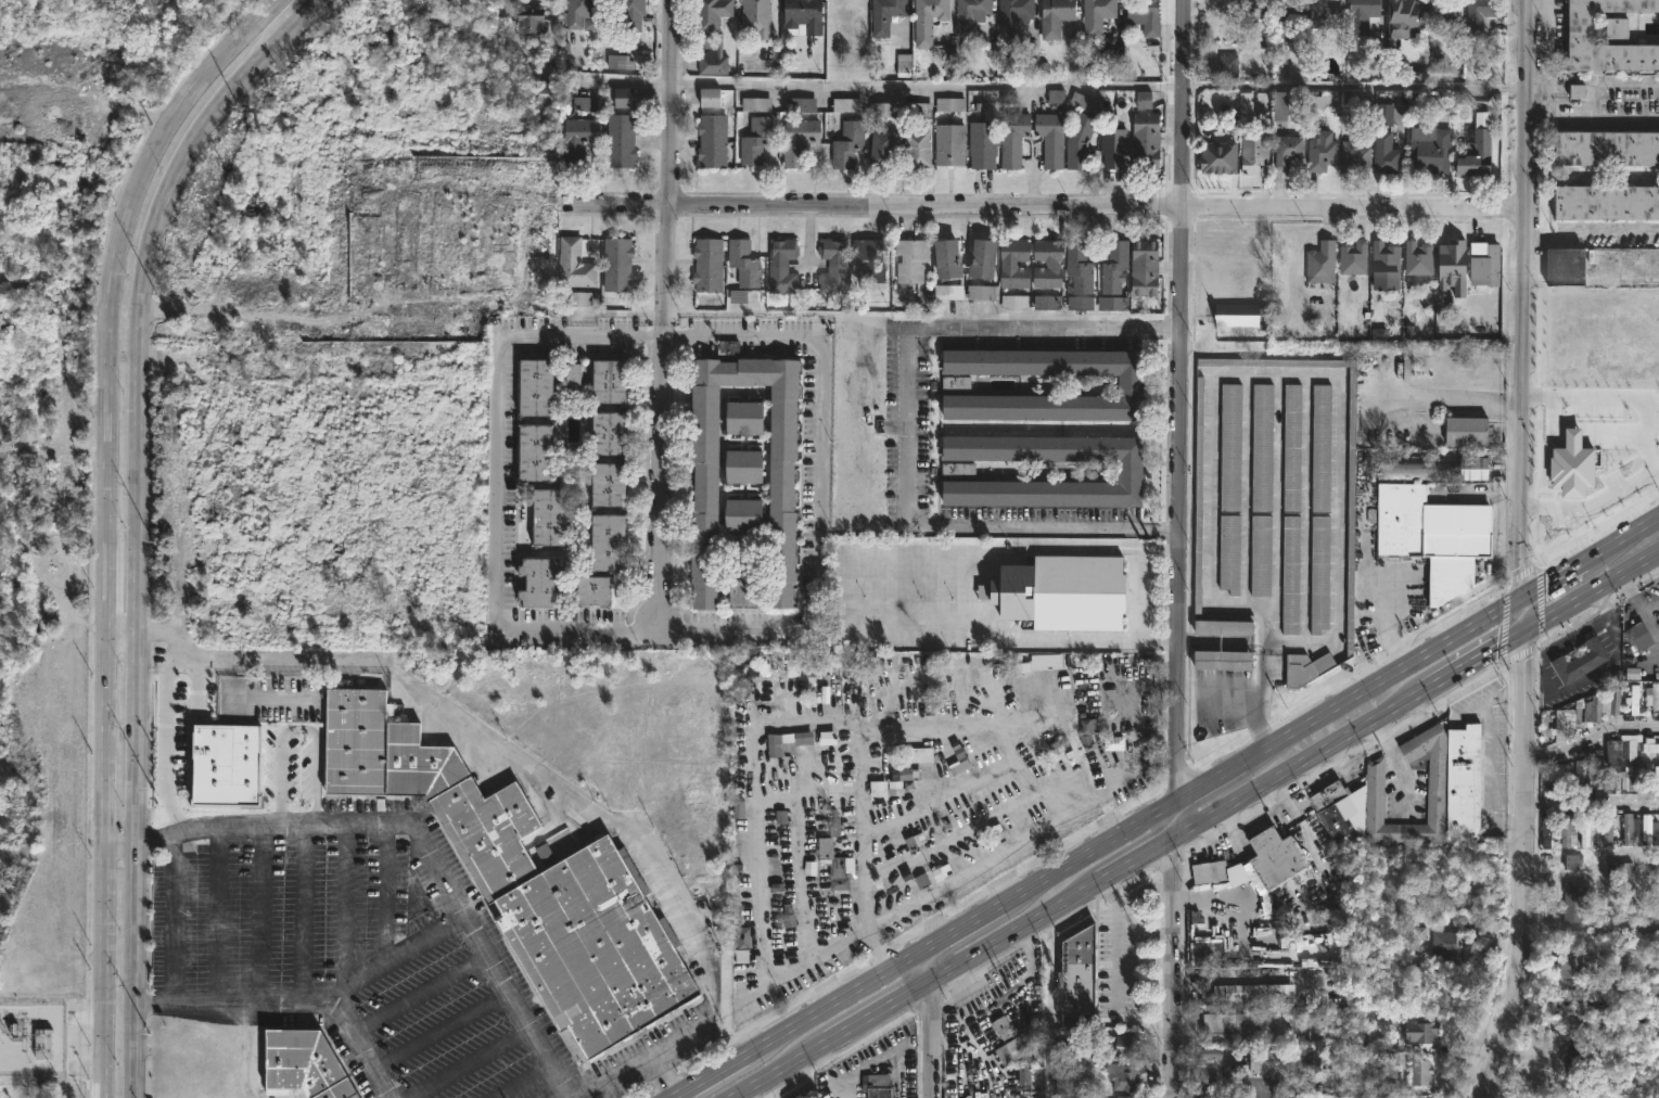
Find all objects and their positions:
building: (579, 11)
building: (1442, 11)
building: (629, 14)
building: (754, 14)
building: (969, 14)
building: (1145, 14)
building: (1326, 14)
building: (1361, 14)
building: (883, 15)
building: (1054, 16)
building: (1095, 16)
building: (1289, 16)
building: (1011, 17)
building: (1402, 17)
building: (926, 18)
building: (1480, 20)
building: (1256, 22)
building: (529, 23)
building: (1578, 27)
building: (1613, 27)
building: (713, 33)
building: (1227, 65)
road: (1619, 82)
road: (1124, 86)
building: (541, 92)
building: (624, 97)
building: (711, 99)
road: (1539, 102)
building: (1278, 105)
road: (1596, 118)
building: (1011, 137)
building: (578, 138)
building: (1049, 138)
building: (754, 139)
building: (796, 139)
building: (621, 140)
building: (713, 140)
building: (1077, 140)
building: (1144, 140)
building: (949, 143)
building: (982, 143)
building: (845, 144)
building: (1114, 146)
building: (1606, 146)
building: (885, 148)
building: (921, 148)
building: (1475, 148)
building: (1287, 149)
building: (1429, 150)
building: (1252, 151)
building: (1320, 151)
building: (1384, 152)
building: (1216, 156)
building: (1353, 156)
building: (1606, 201)
road: (1048, 203)
road: (1604, 230)
road: (1539, 238)
building: (1353, 257)
building: (1383, 257)
building: (870, 258)
building: (949, 258)
building: (1417, 258)
building: (913, 259)
building: (986, 259)
building: (743, 261)
building: (1319, 261)
building: (1014, 263)
building: (1047, 263)
building: (575, 264)
building: (617, 264)
building: (707, 264)
building: (832, 264)
building: (780, 265)
building: (1113, 266)
building: (1564, 266)
building: (1077, 267)
building: (1143, 267)
building: (949, 291)
building: (983, 293)
road: (1527, 296)
building: (1111, 303)
road: (661, 311)
building: (1236, 315)
building: (203, 323)
road: (658, 334)
road: (124, 335)
building: (575, 379)
building: (612, 380)
building: (955, 383)
building: (1126, 384)
building: (536, 386)
road: (1616, 399)
road: (1178, 401)
building: (1594, 403)
building: (744, 417)
road: (904, 422)
building: (1465, 430)
building: (612, 434)
building: (1229, 447)
building: (1291, 447)
building: (1261, 448)
building: (1320, 448)
building: (536, 450)
building: (744, 467)
building: (957, 469)
building: (1433, 469)
building: (1126, 470)
building: (611, 485)
building: (780, 486)
building: (1197, 496)
road: (1594, 506)
building: (1349, 510)
building: (743, 515)
building: (547, 516)
road: (135, 522)
road: (109, 524)
building: (1432, 535)
road: (1621, 539)
building: (610, 542)
building: (1228, 553)
building: (1260, 556)
building: (1290, 574)
building: (1318, 574)
road: (1555, 578)
building: (546, 583)
building: (596, 591)
building: (743, 592)
building: (1076, 592)
road: (1593, 596)
road: (1528, 614)
building: (1224, 624)
road: (120, 630)
building: (1638, 636)
road: (1483, 660)
building: (1221, 661)
building: (1043, 662)
building: (1580, 662)
building: (814, 667)
building: (1305, 668)
road: (1388, 677)
building: (1655, 697)
building: (1616, 702)
building: (1597, 708)
road: (750, 731)
building: (809, 738)
road: (1591, 741)
building: (1651, 748)
road: (1135, 749)
building: (1613, 753)
building: (960, 757)
road: (1484, 757)
road: (1306, 764)
building: (905, 773)
road: (549, 779)
building: (1556, 779)
building: (1657, 779)
road: (1211, 781)
building: (1599, 781)
building: (1638, 781)
building: (1462, 783)
building: (1617, 783)
building: (1347, 795)
road: (939, 800)
road: (1054, 802)
road: (1526, 802)
road: (1592, 805)
road: (1108, 813)
road: (1173, 822)
building: (1610, 828)
building: (1547, 829)
building: (1568, 830)
building: (1587, 830)
building: (1629, 830)
building: (1648, 830)
road: (948, 838)
road: (422, 839)
road: (118, 843)
road: (1089, 852)
building: (1274, 857)
building: (837, 863)
road: (1137, 864)
building: (1208, 872)
building: (527, 877)
road: (385, 891)
road: (344, 903)
building: (1571, 904)
road: (302, 912)
road: (260, 914)
road: (217, 915)
road: (175, 916)
road: (967, 922)
road: (1014, 936)
building: (1452, 945)
road: (394, 954)
road: (928, 966)
building: (1574, 967)
road: (1173, 970)
building: (1076, 976)
road: (420, 991)
building: (1245, 993)
road: (841, 997)
road: (1513, 998)
road: (288, 1000)
road: (877, 1016)
building: (1233, 1022)
road: (443, 1027)
building: (1418, 1033)
road: (1049, 1036)
power substation: (33, 1040)
road: (929, 1042)
building: (1127, 1045)
building: (43, 1046)
building: (1009, 1050)
building: (1084, 1051)
building: (1265, 1059)
building: (1574, 1059)
road: (468, 1061)
road: (1490, 1062)
building: (305, 1064)
building: (1310, 1064)
road: (864, 1069)
road: (781, 1071)
building: (1420, 1071)
road: (714, 1074)
building: (1124, 1075)
road: (524, 1081)
building: (879, 1086)
road: (1241, 1086)
building: (1130, 1097)

